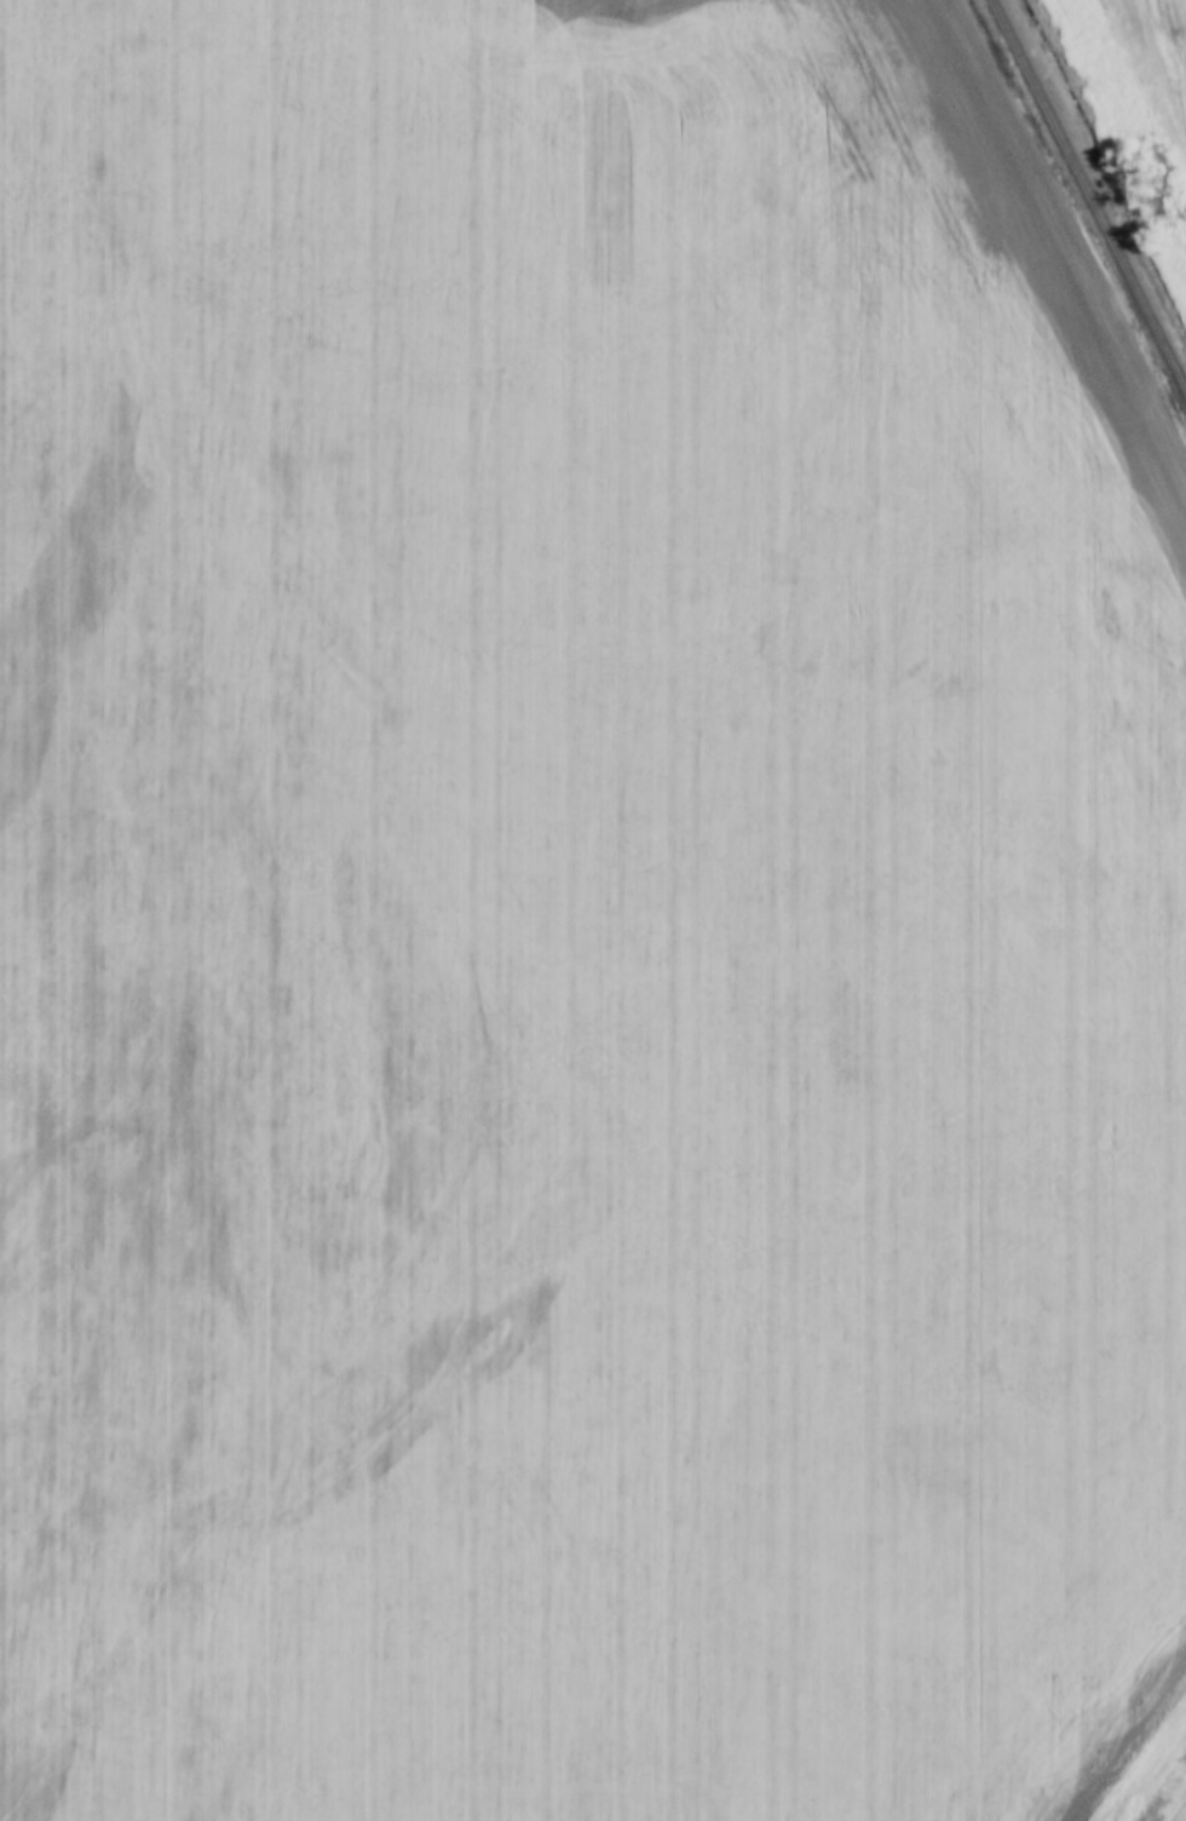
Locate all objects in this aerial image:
railway: (1087, 197)

